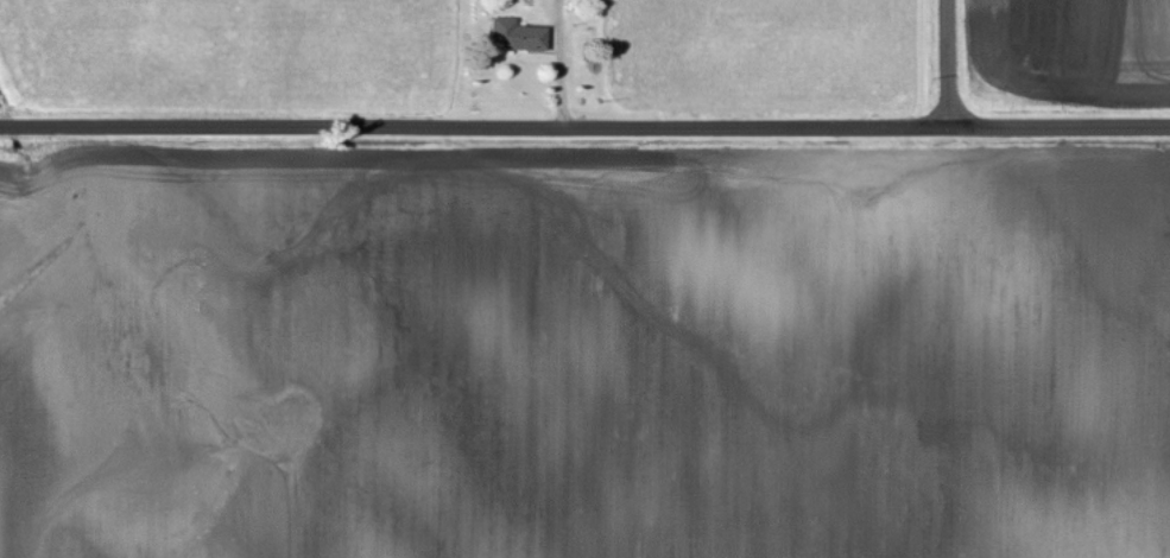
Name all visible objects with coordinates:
building: (514, 37)
road: (944, 58)
road: (565, 69)
road: (584, 116)

